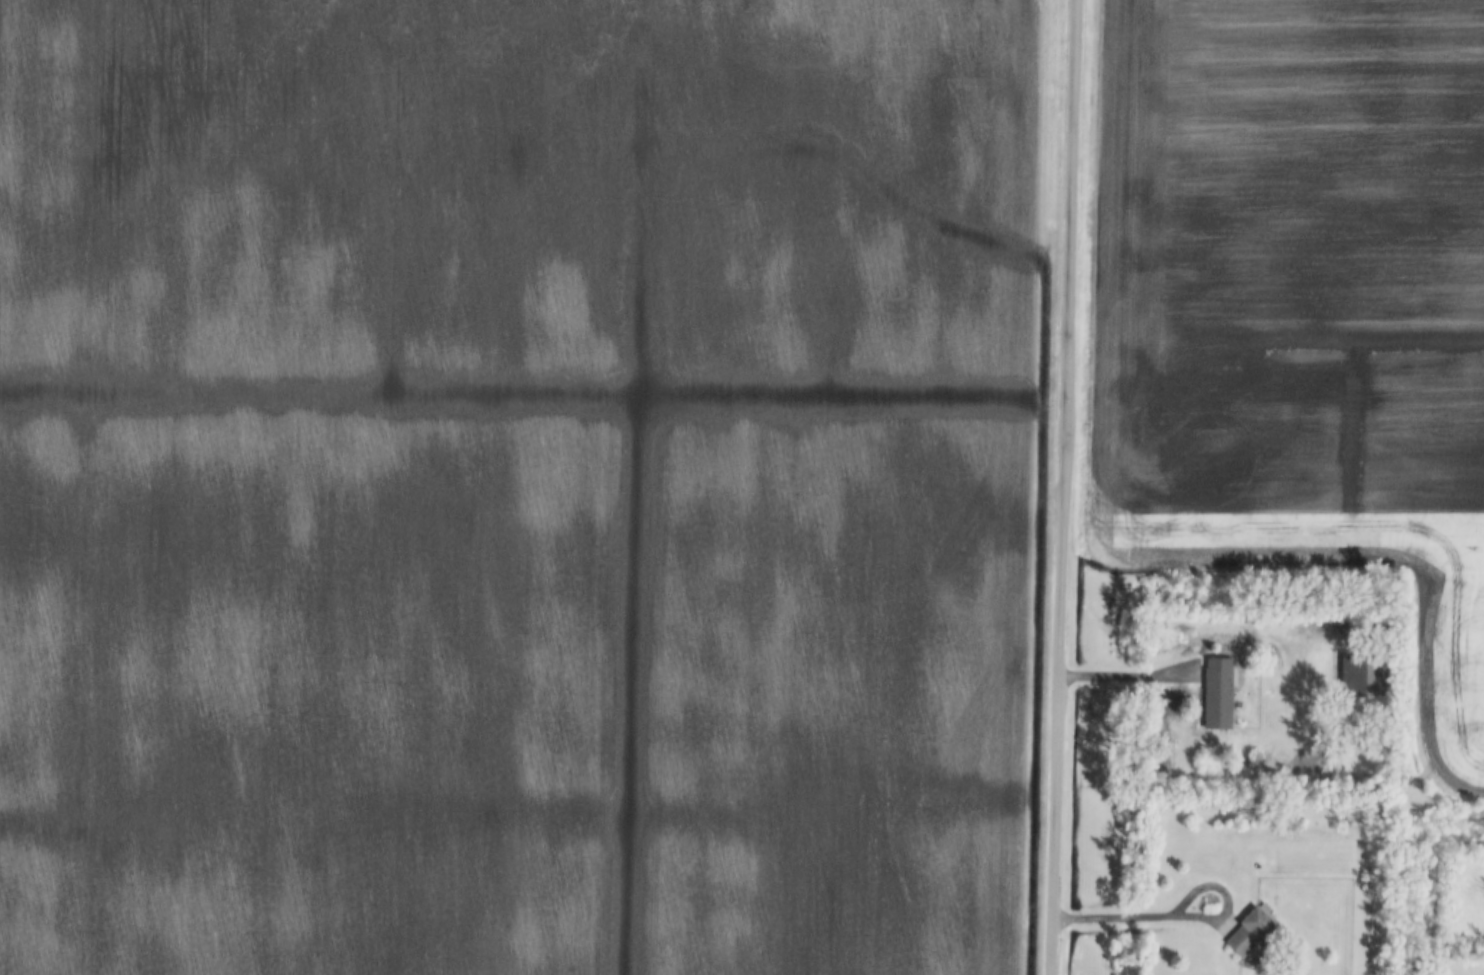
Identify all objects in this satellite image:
crop: (1299, 311)
crop: (513, 485)
road: (1060, 487)
building: (1363, 672)
road: (1127, 675)
building: (1216, 693)
road: (1183, 916)
building: (1254, 931)

